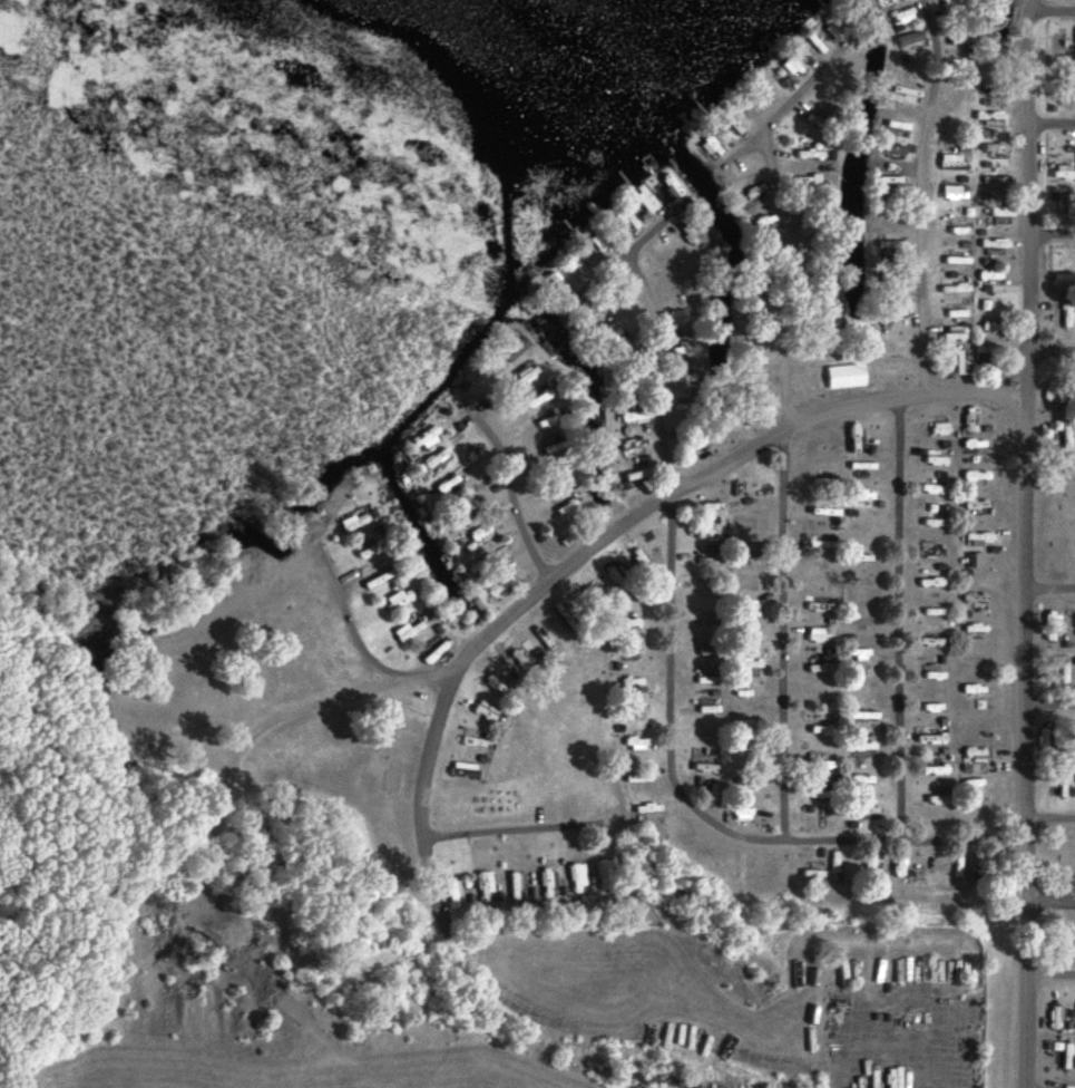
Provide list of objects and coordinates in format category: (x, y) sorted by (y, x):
building: (947, 3)
road: (1050, 12)
building: (960, 40)
building: (906, 43)
building: (1055, 51)
building: (991, 87)
building: (1066, 94)
road: (1050, 123)
building: (887, 150)
building: (803, 155)
building: (948, 163)
building: (1058, 171)
building: (802, 187)
building: (886, 188)
building: (948, 193)
road: (917, 195)
building: (1063, 202)
road: (1052, 234)
road: (642, 235)
building: (948, 259)
building: (1058, 280)
building: (988, 305)
road: (1052, 352)
building: (512, 354)
building: (958, 363)
building: (840, 376)
building: (421, 440)
road: (1052, 472)
building: (631, 477)
road: (782, 484)
road: (508, 487)
building: (355, 523)
building: (481, 532)
road: (1028, 543)
building: (360, 551)
building: (1063, 551)
road: (1052, 589)
building: (392, 600)
road: (899, 620)
building: (1053, 626)
building: (405, 631)
road: (358, 642)
building: (431, 651)
building: (698, 679)
road: (452, 688)
road: (1050, 703)
building: (858, 747)
road: (240, 751)
building: (701, 767)
road: (702, 815)
road: (1050, 817)
road: (515, 830)
building: (600, 876)
building: (574, 878)
building: (482, 882)
building: (546, 885)
road: (1050, 900)
road: (1049, 974)
road: (888, 1009)

